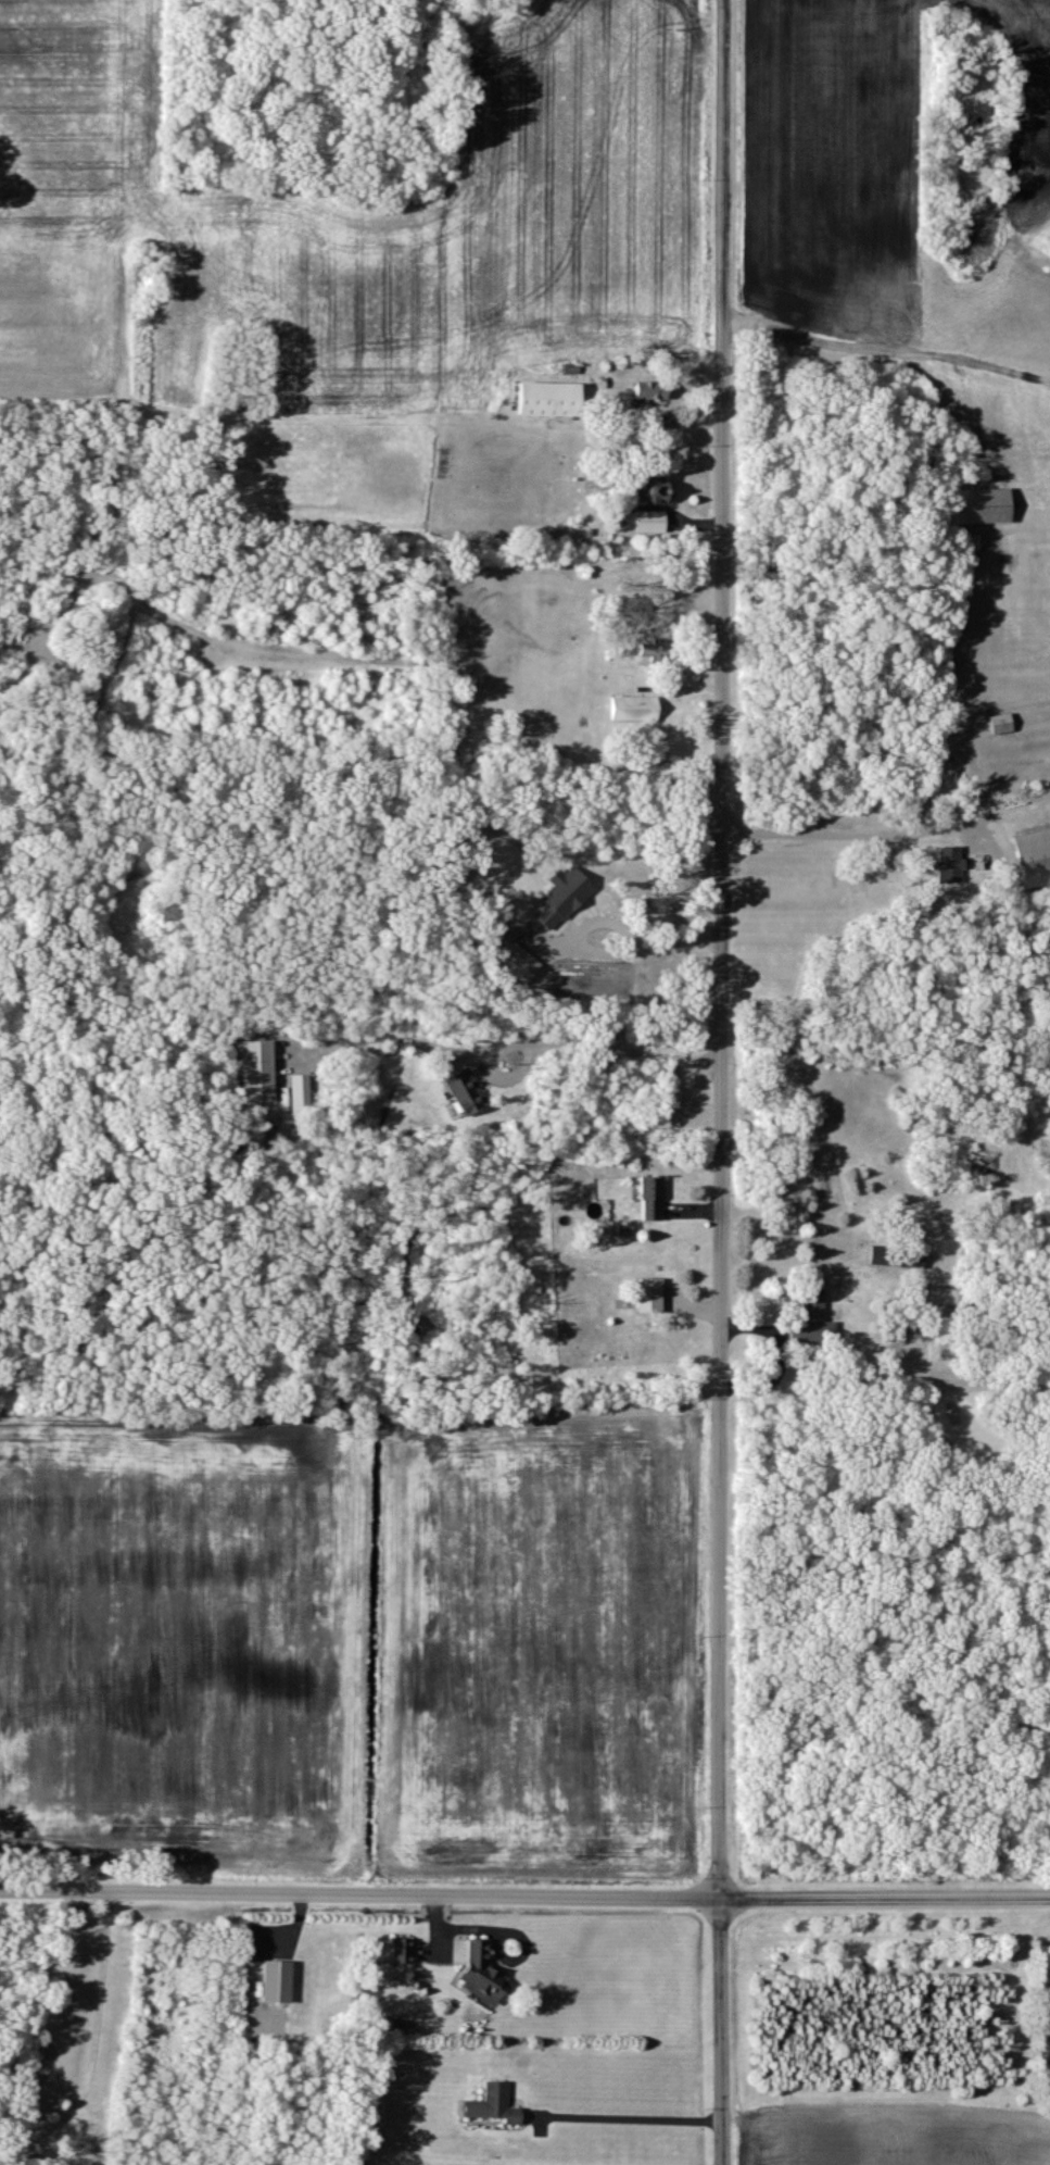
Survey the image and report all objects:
building: (654, 391)
building: (552, 401)
building: (985, 499)
building: (653, 523)
road: (26, 534)
building: (654, 652)
building: (636, 709)
building: (1003, 724)
road: (893, 835)
building: (1035, 859)
building: (951, 865)
road: (81, 884)
building: (565, 897)
road: (632, 947)
building: (520, 963)
road: (602, 1048)
building: (257, 1072)
road: (728, 1080)
building: (301, 1093)
building: (468, 1093)
building: (654, 1199)
building: (884, 1257)
building: (650, 1296)
building: (938, 1297)
building: (813, 1322)
road: (524, 1897)
building: (403, 1952)
building: (484, 1975)
building: (279, 1982)
building: (495, 2106)
road: (627, 2119)

